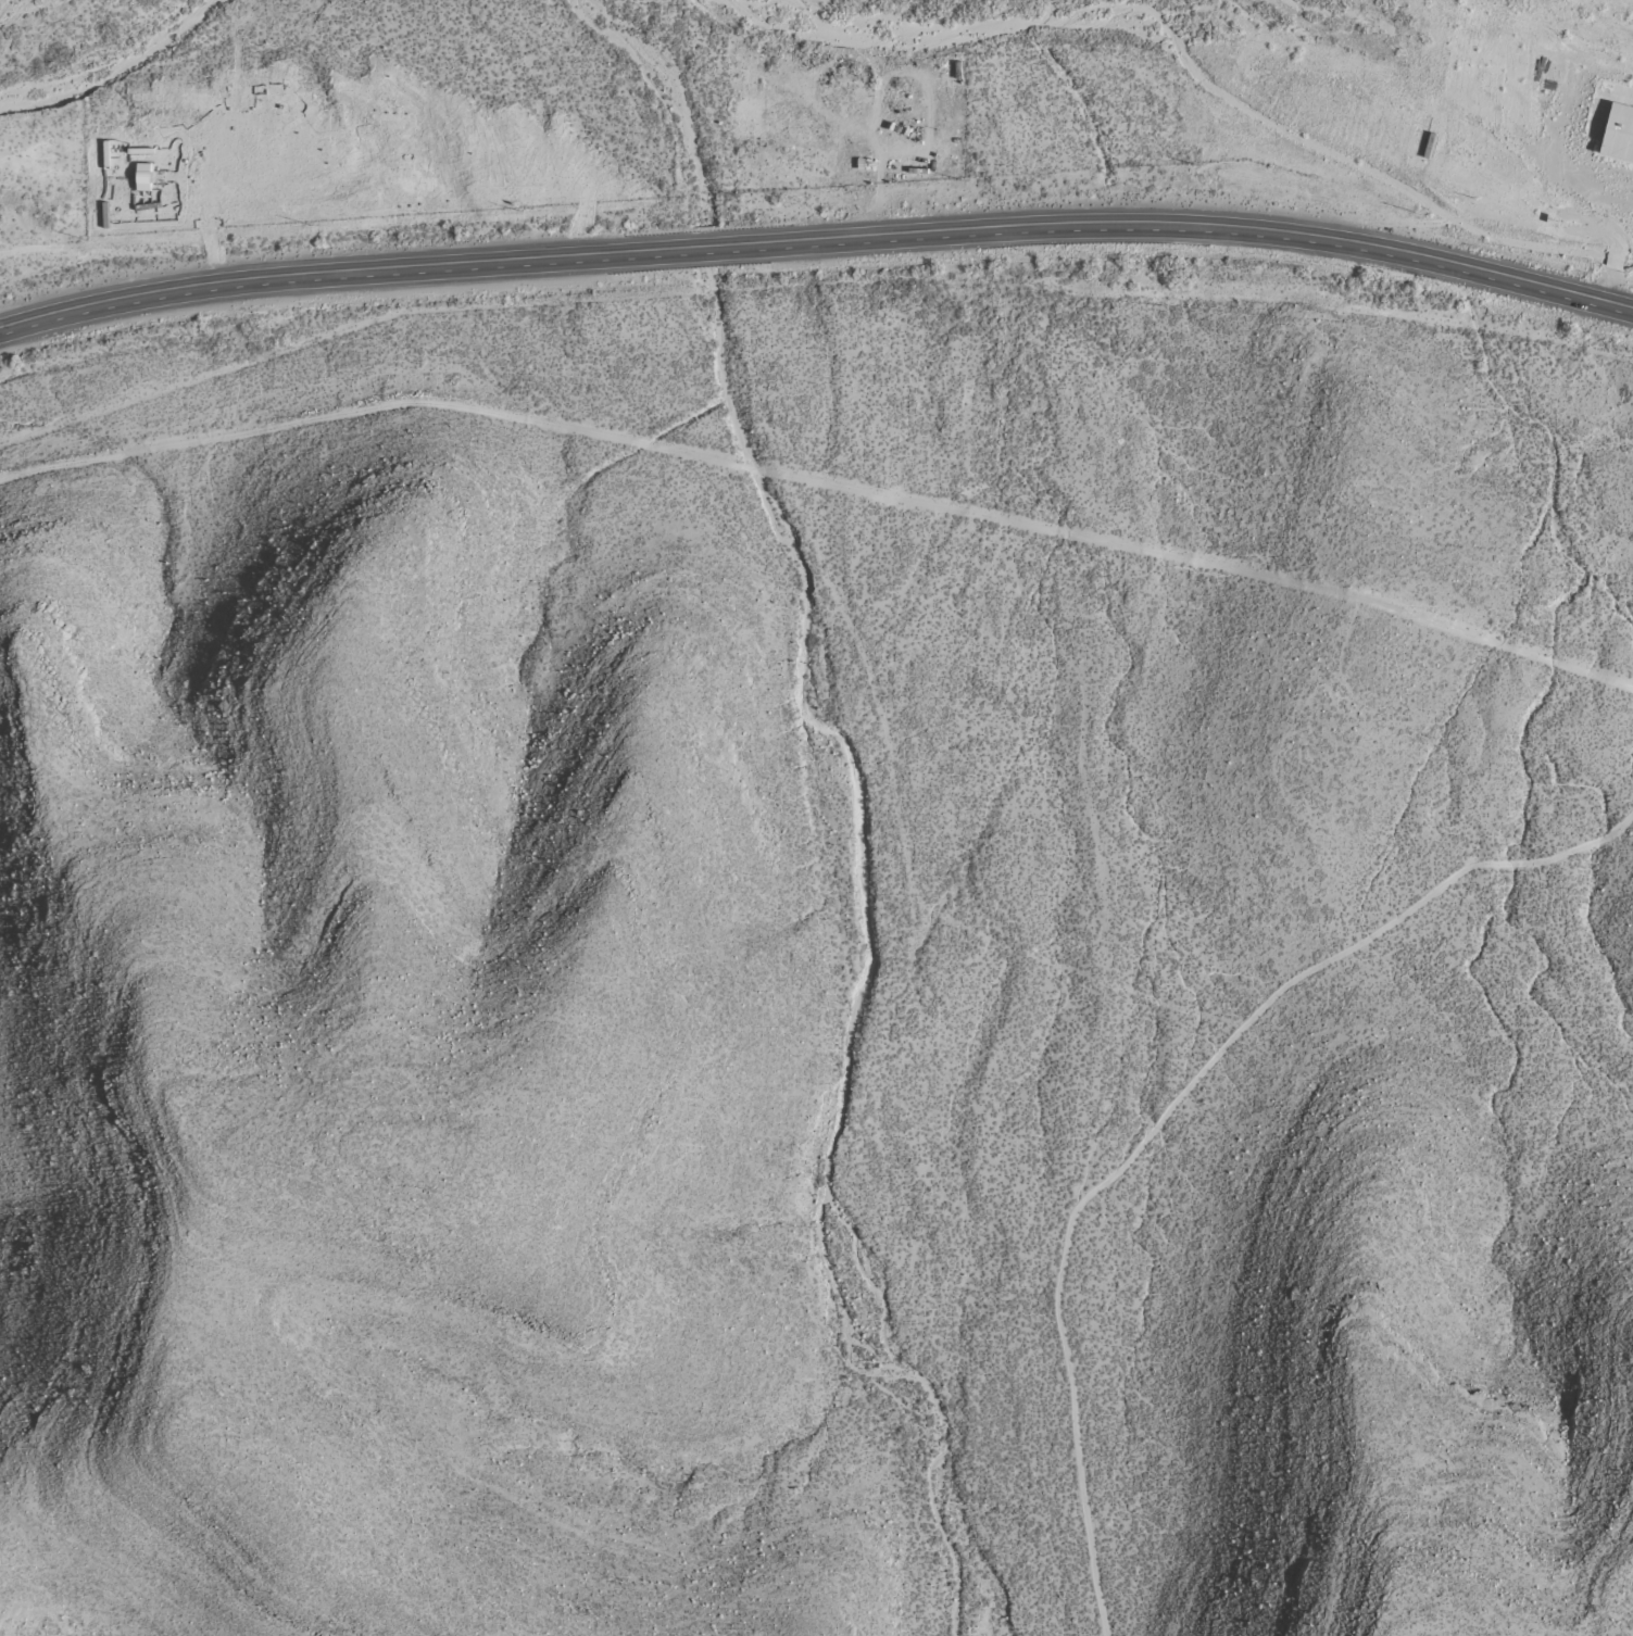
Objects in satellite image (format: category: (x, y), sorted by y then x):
building: (1617, 136)
road: (1611, 239)
road: (818, 240)
road: (820, 486)

